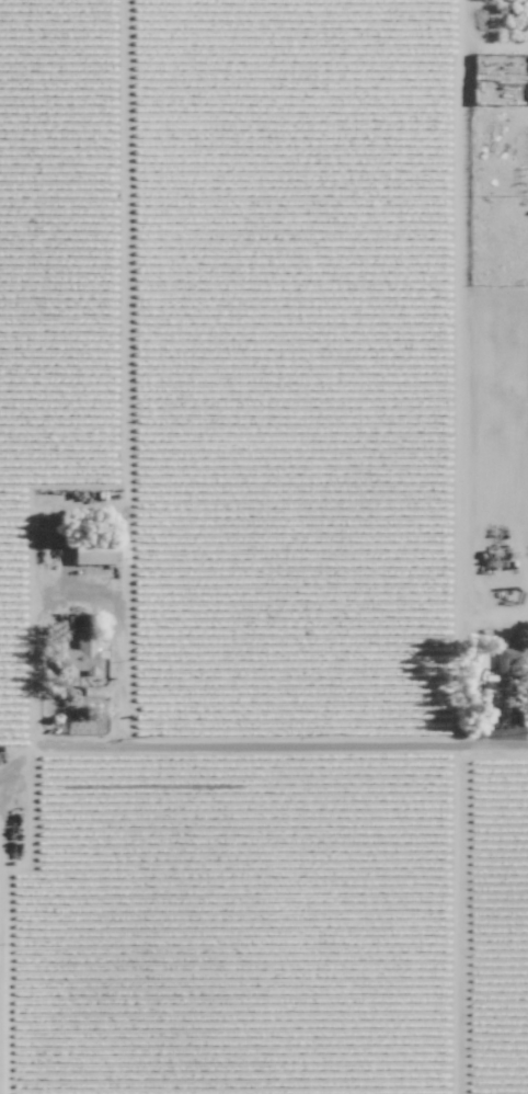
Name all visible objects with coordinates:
building: (87, 558)
road: (76, 573)
road: (494, 600)
road: (266, 753)
road: (458, 923)

